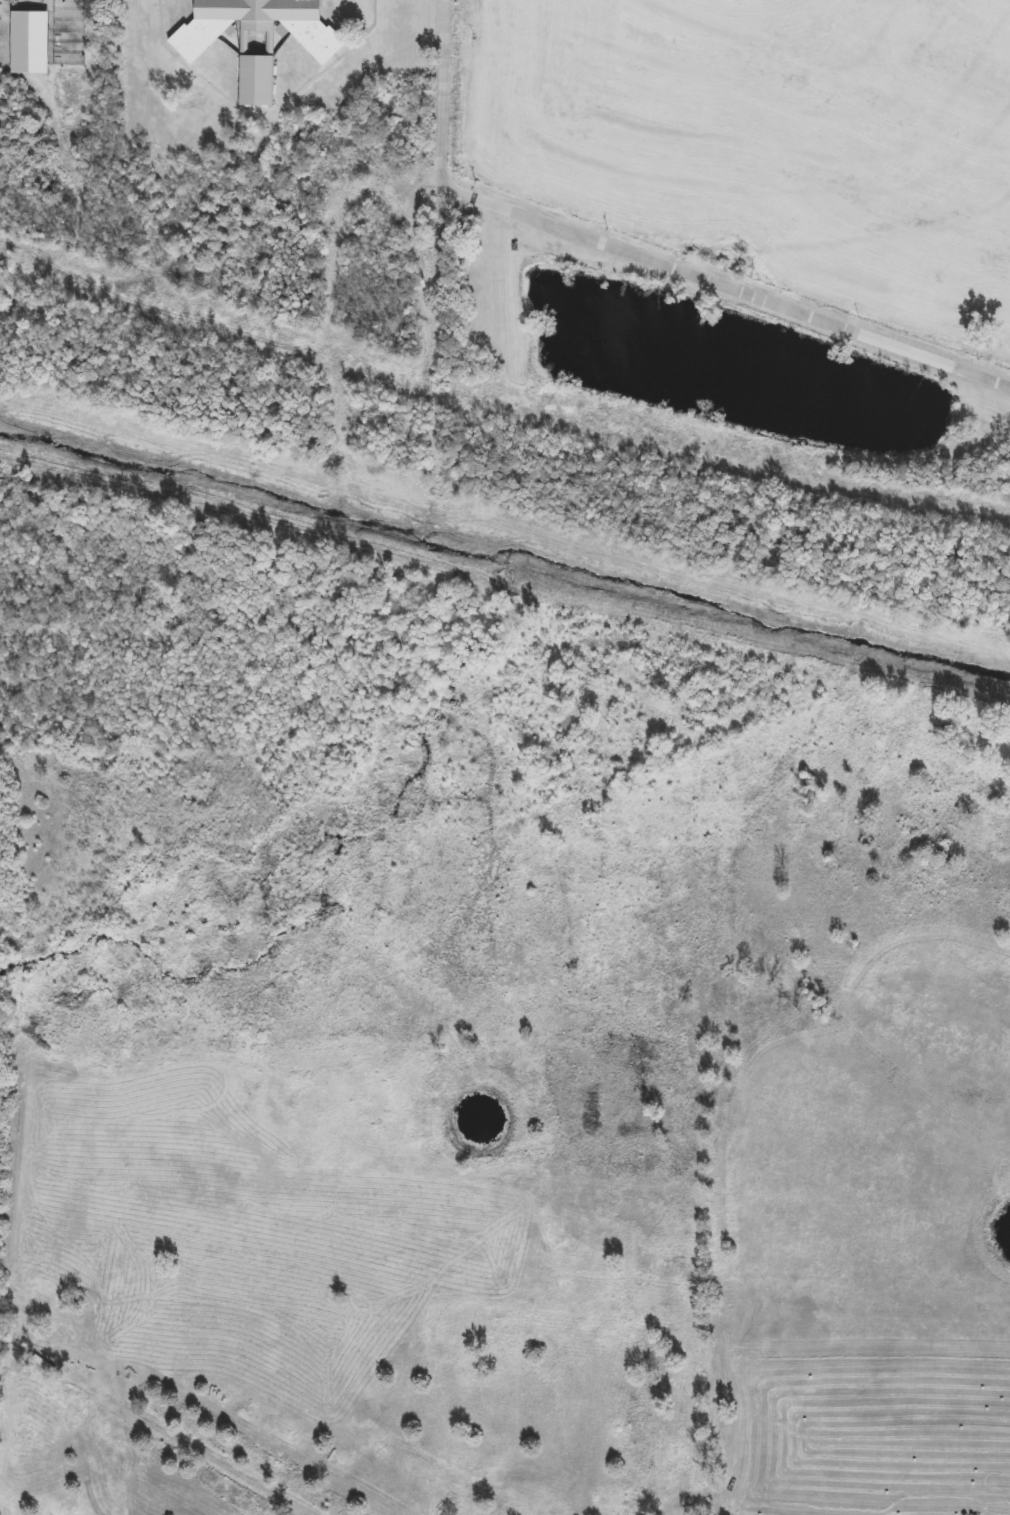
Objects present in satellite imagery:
building: (257, 38)
road: (449, 72)
road: (714, 275)
road: (723, 1185)

